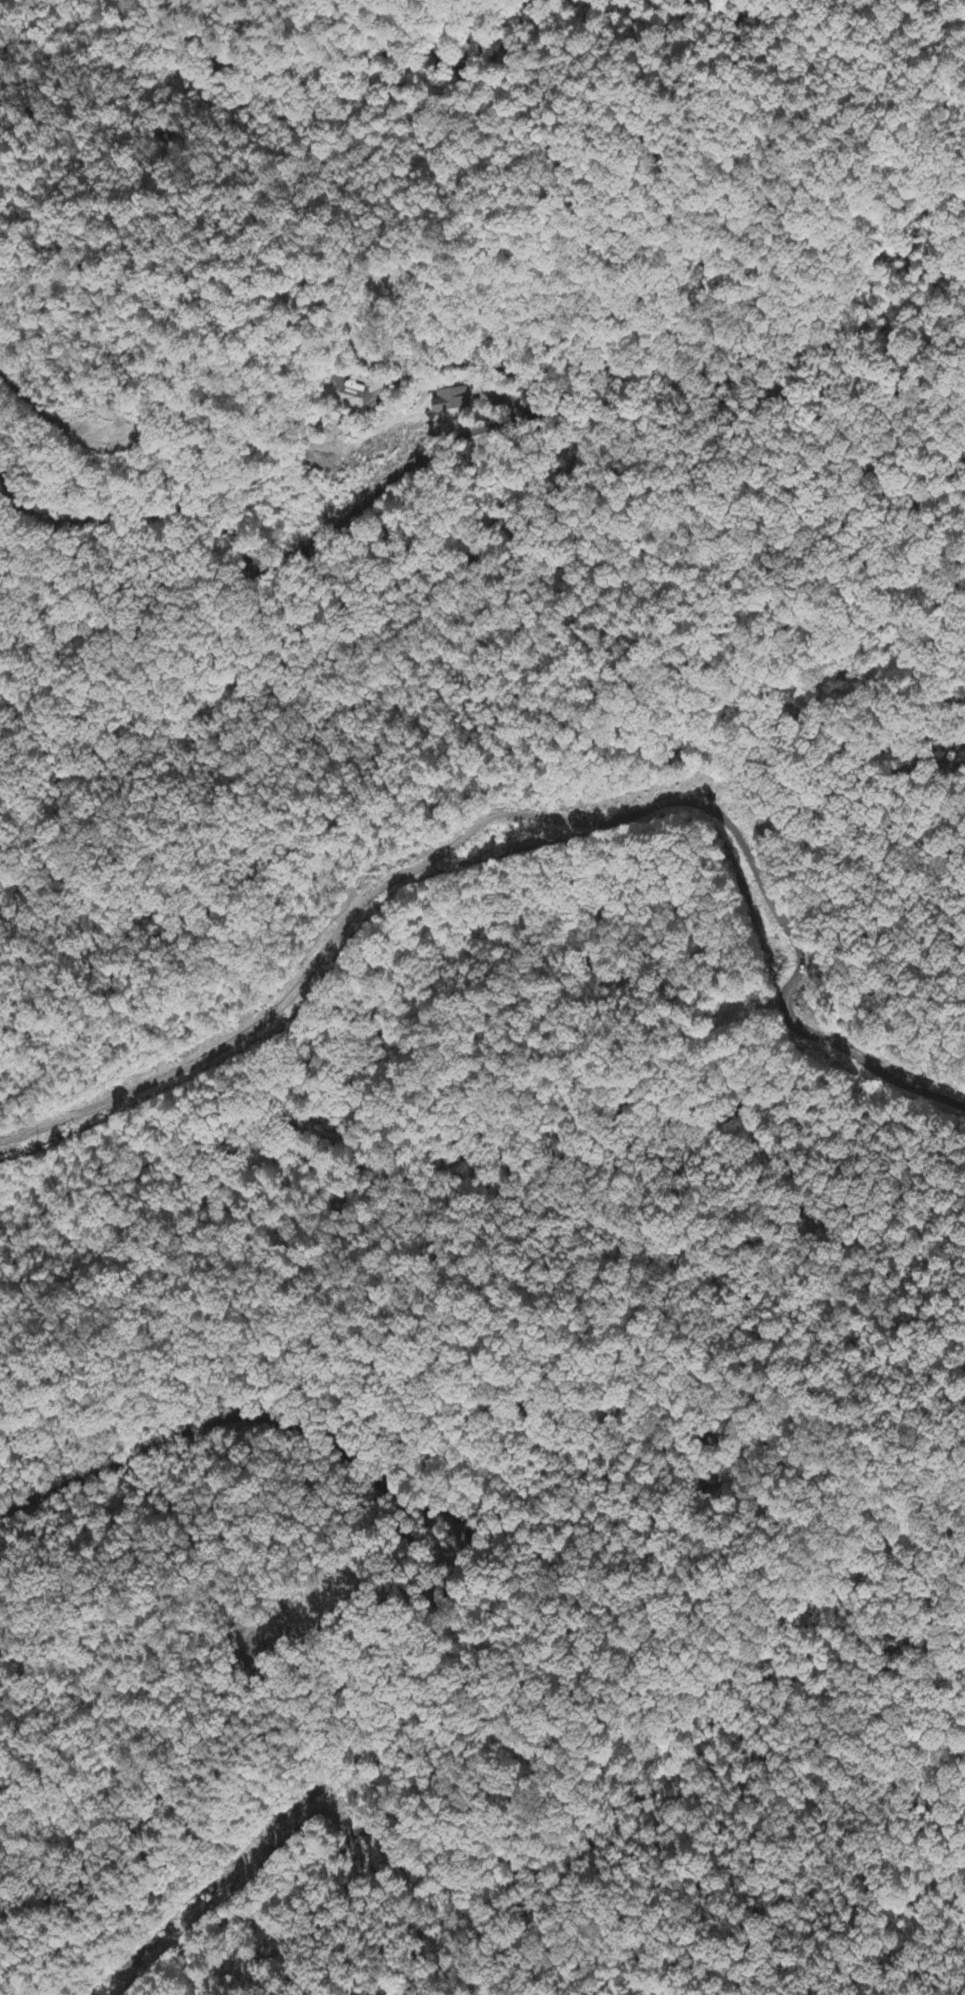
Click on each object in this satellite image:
building: (450, 401)
road: (238, 526)
road: (521, 813)

